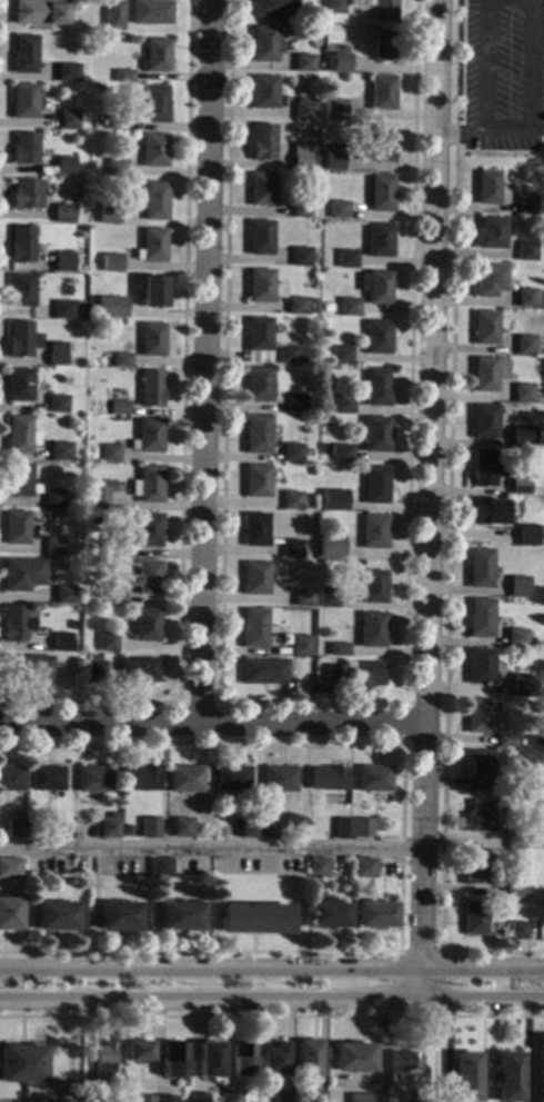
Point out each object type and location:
building: (334, 7)
building: (274, 8)
building: (383, 10)
building: (151, 12)
building: (39, 13)
building: (113, 16)
building: (264, 44)
building: (384, 47)
building: (24, 54)
building: (155, 57)
road: (536, 62)
building: (303, 63)
building: (340, 63)
building: (319, 64)
building: (67, 73)
building: (123, 76)
building: (264, 92)
building: (382, 93)
building: (24, 101)
building: (155, 105)
building: (303, 109)
building: (334, 110)
building: (68, 120)
building: (117, 123)
road: (461, 129)
road: (486, 129)
building: (262, 142)
building: (381, 145)
building: (24, 149)
building: (154, 150)
building: (300, 157)
building: (332, 160)
building: (64, 166)
building: (115, 169)
building: (488, 188)
building: (263, 190)
building: (381, 192)
building: (26, 195)
building: (153, 200)
building: (526, 205)
building: (338, 210)
building: (301, 211)
building: (62, 214)
building: (114, 218)
building: (490, 234)
building: (260, 237)
building: (379, 240)
building: (21, 245)
building: (153, 245)
building: (525, 251)
building: (301, 256)
building: (346, 259)
building: (62, 262)
building: (112, 265)
building: (542, 272)
building: (488, 280)
building: (261, 286)
building: (379, 288)
building: (21, 290)
building: (152, 292)
building: (525, 298)
building: (296, 306)
building: (312, 307)
building: (349, 307)
building: (326, 308)
building: (62, 310)
building: (113, 310)
building: (485, 328)
building: (259, 334)
building: (377, 337)
building: (21, 340)
building: (152, 340)
building: (525, 345)
building: (57, 354)
building: (288, 355)
building: (341, 356)
building: (121, 360)
road: (204, 361)
building: (487, 374)
building: (19, 385)
building: (259, 385)
building: (376, 388)
building: (151, 389)
building: (522, 394)
building: (296, 404)
building: (342, 404)
building: (57, 405)
building: (119, 408)
building: (483, 421)
building: (258, 435)
building: (374, 435)
building: (19, 436)
building: (149, 436)
building: (522, 437)
road: (181, 439)
building: (60, 451)
building: (291, 453)
building: (110, 454)
building: (341, 454)
building: (485, 468)
building: (19, 480)
building: (256, 481)
building: (148, 485)
building: (375, 485)
building: (518, 486)
building: (332, 498)
road: (427, 499)
building: (53, 500)
building: (98, 500)
building: (292, 502)
building: (70, 503)
building: (345, 504)
building: (486, 513)
building: (17, 528)
road: (446, 528)
building: (255, 529)
building: (148, 530)
building: (373, 532)
building: (526, 535)
building: (53, 547)
building: (112, 547)
building: (330, 547)
building: (291, 549)
building: (478, 568)
building: (22, 575)
building: (149, 578)
building: (255, 578)
building: (517, 586)
building: (372, 587)
building: (63, 595)
building: (117, 595)
building: (328, 597)
building: (302, 598)
building: (478, 618)
building: (16, 624)
building: (73, 625)
building: (147, 626)
building: (254, 628)
building: (371, 629)
building: (515, 637)
building: (530, 642)
building: (62, 643)
building: (107, 643)
building: (301, 647)
building: (338, 649)
building: (478, 666)
building: (27, 668)
building: (138, 671)
building: (263, 672)
building: (95, 673)
building: (355, 675)
building: (520, 686)
building: (316, 688)
road: (198, 703)
road: (310, 704)
road: (403, 704)
building: (477, 716)
road: (211, 723)
building: (504, 741)
building: (476, 770)
building: (233, 778)
building: (328, 778)
building: (373, 778)
building: (11, 780)
building: (48, 780)
building: (94, 780)
building: (140, 780)
building: (187, 780)
building: (279, 780)
building: (478, 817)
building: (182, 827)
building: (248, 827)
building: (17, 828)
building: (63, 828)
building: (110, 828)
building: (150, 828)
building: (343, 828)
building: (362, 828)
building: (269, 830)
building: (42, 832)
building: (513, 840)
road: (400, 845)
road: (210, 848)
building: (318, 867)
building: (10, 868)
building: (161, 868)
building: (363, 868)
building: (475, 868)
building: (61, 871)
building: (513, 891)
building: (328, 914)
building: (10, 915)
building: (373, 915)
building: (57, 916)
building: (119, 916)
building: (180, 917)
building: (254, 919)
building: (473, 919)
building: (516, 931)
road: (417, 952)
road: (272, 966)
road: (272, 1000)
road: (224, 1016)
road: (496, 1016)
road: (447, 1051)
road: (527, 1051)
building: (137, 1052)
building: (352, 1058)
building: (272, 1059)
building: (306, 1059)
road: (433, 1059)
building: (209, 1060)
building: (174, 1061)
building: (242, 1061)
building: (400, 1061)
building: (22, 1064)
building: (104, 1064)
building: (541, 1069)
building: (466, 1078)
building: (508, 1078)
building: (282, 1096)
building: (315, 1096)
building: (91, 1098)
building: (199, 1098)
building: (232, 1098)
building: (365, 1098)
building: (145, 1099)
building: (164, 1099)

